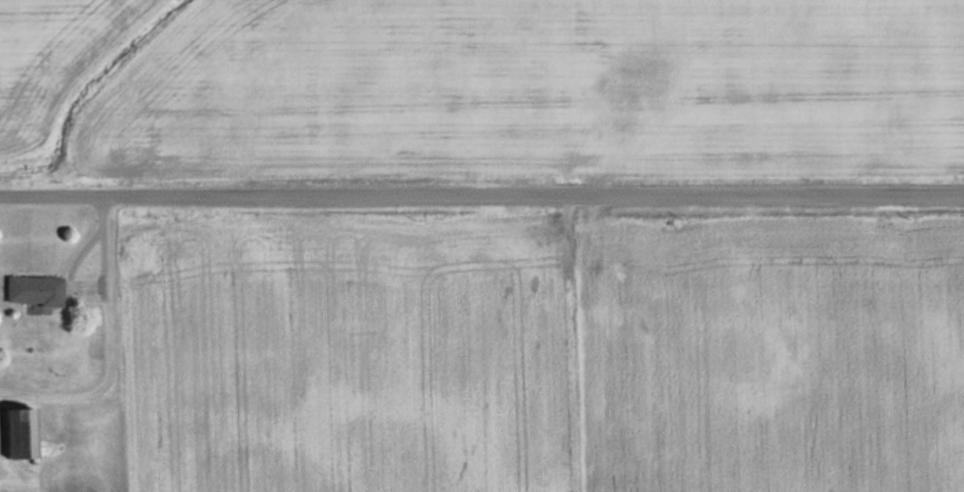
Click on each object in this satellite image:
road: (482, 196)
building: (35, 291)
building: (22, 434)

